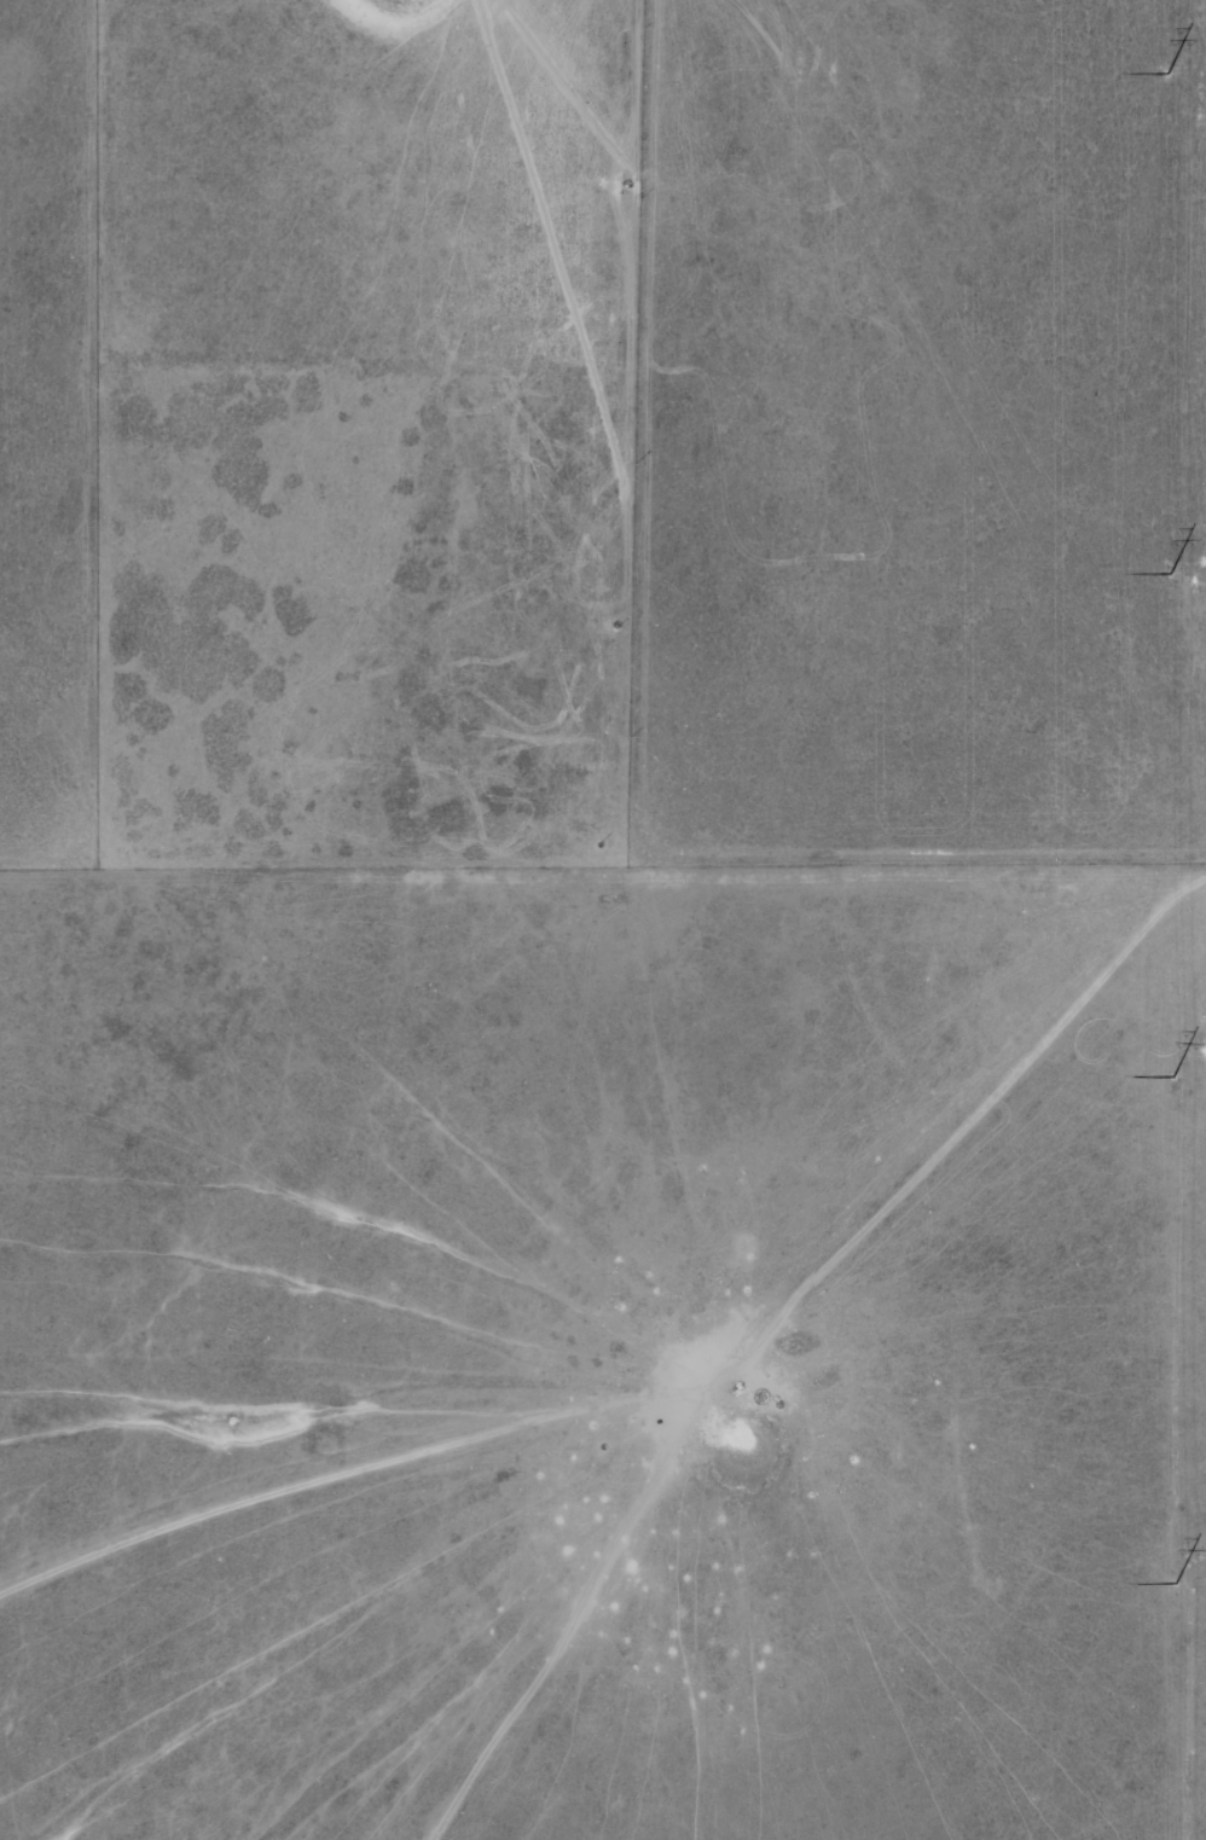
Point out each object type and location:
power tower: (1165, 72)
power tower: (1167, 573)
power tower: (1170, 1076)
power tower: (1172, 1584)

